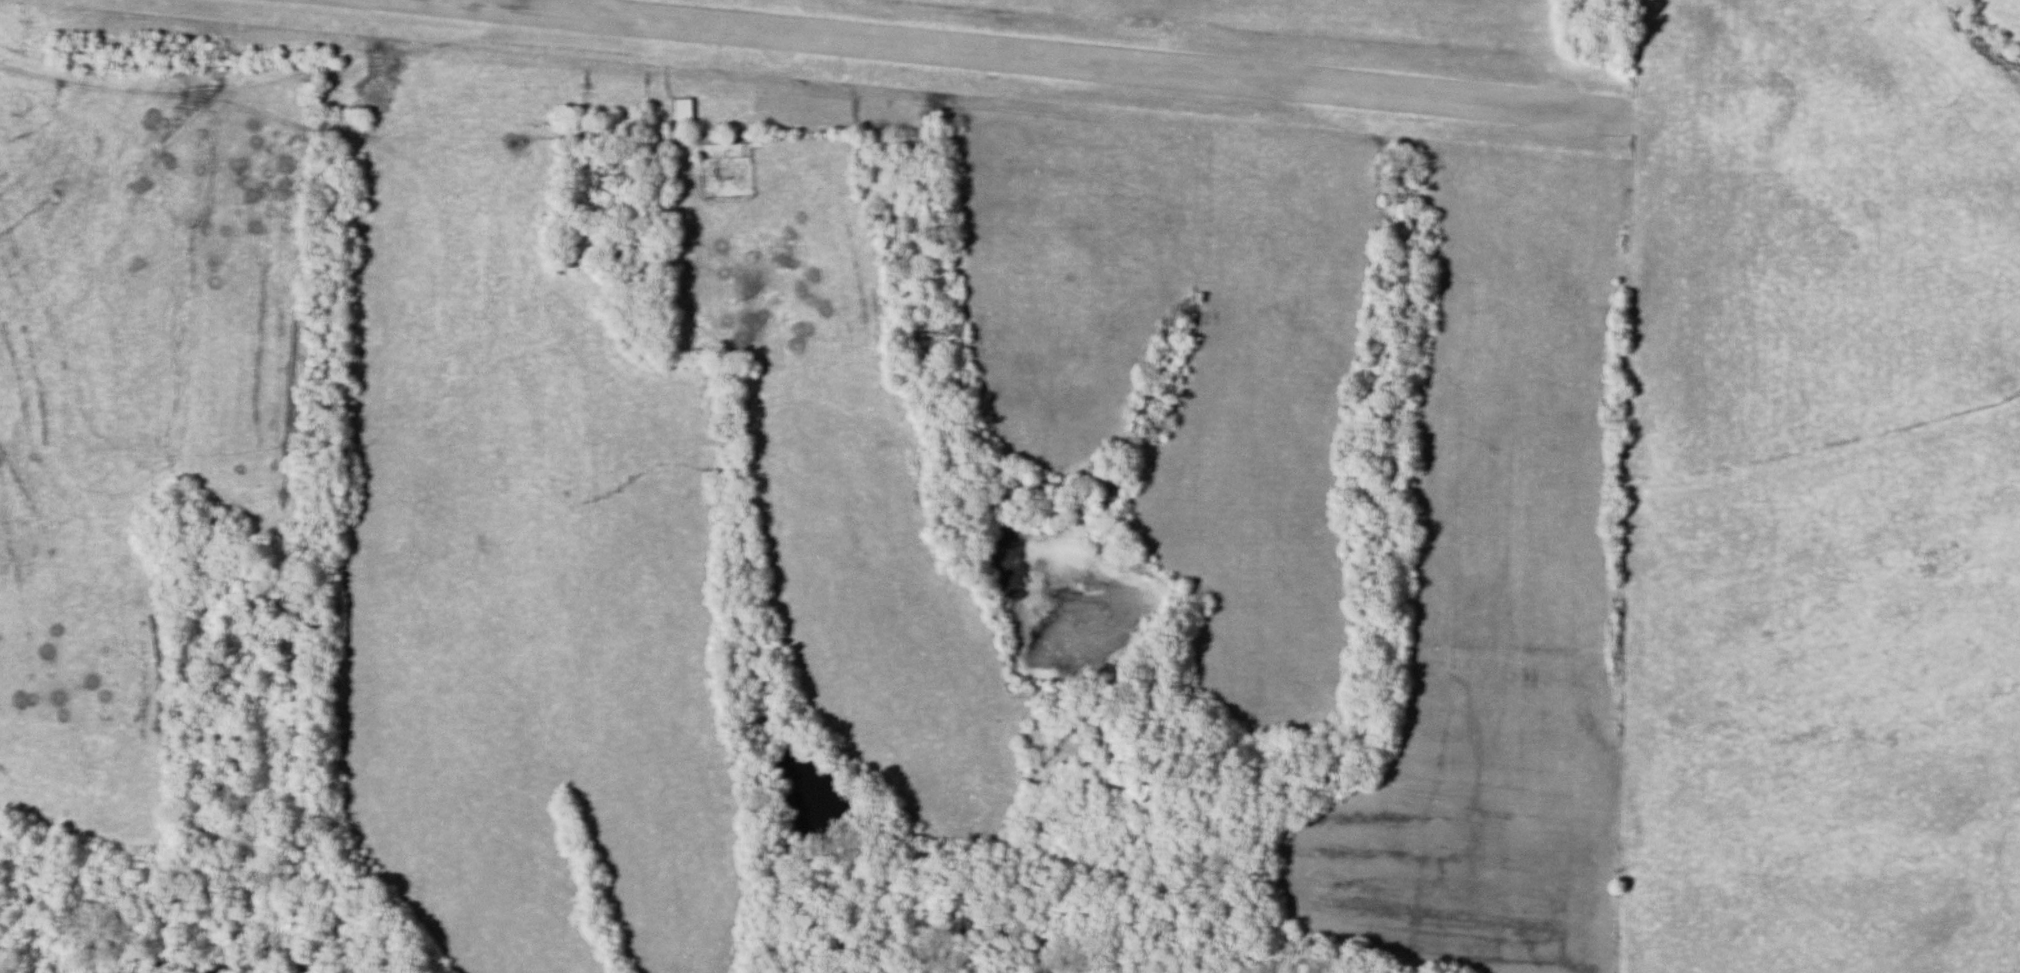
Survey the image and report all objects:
building: (685, 114)

